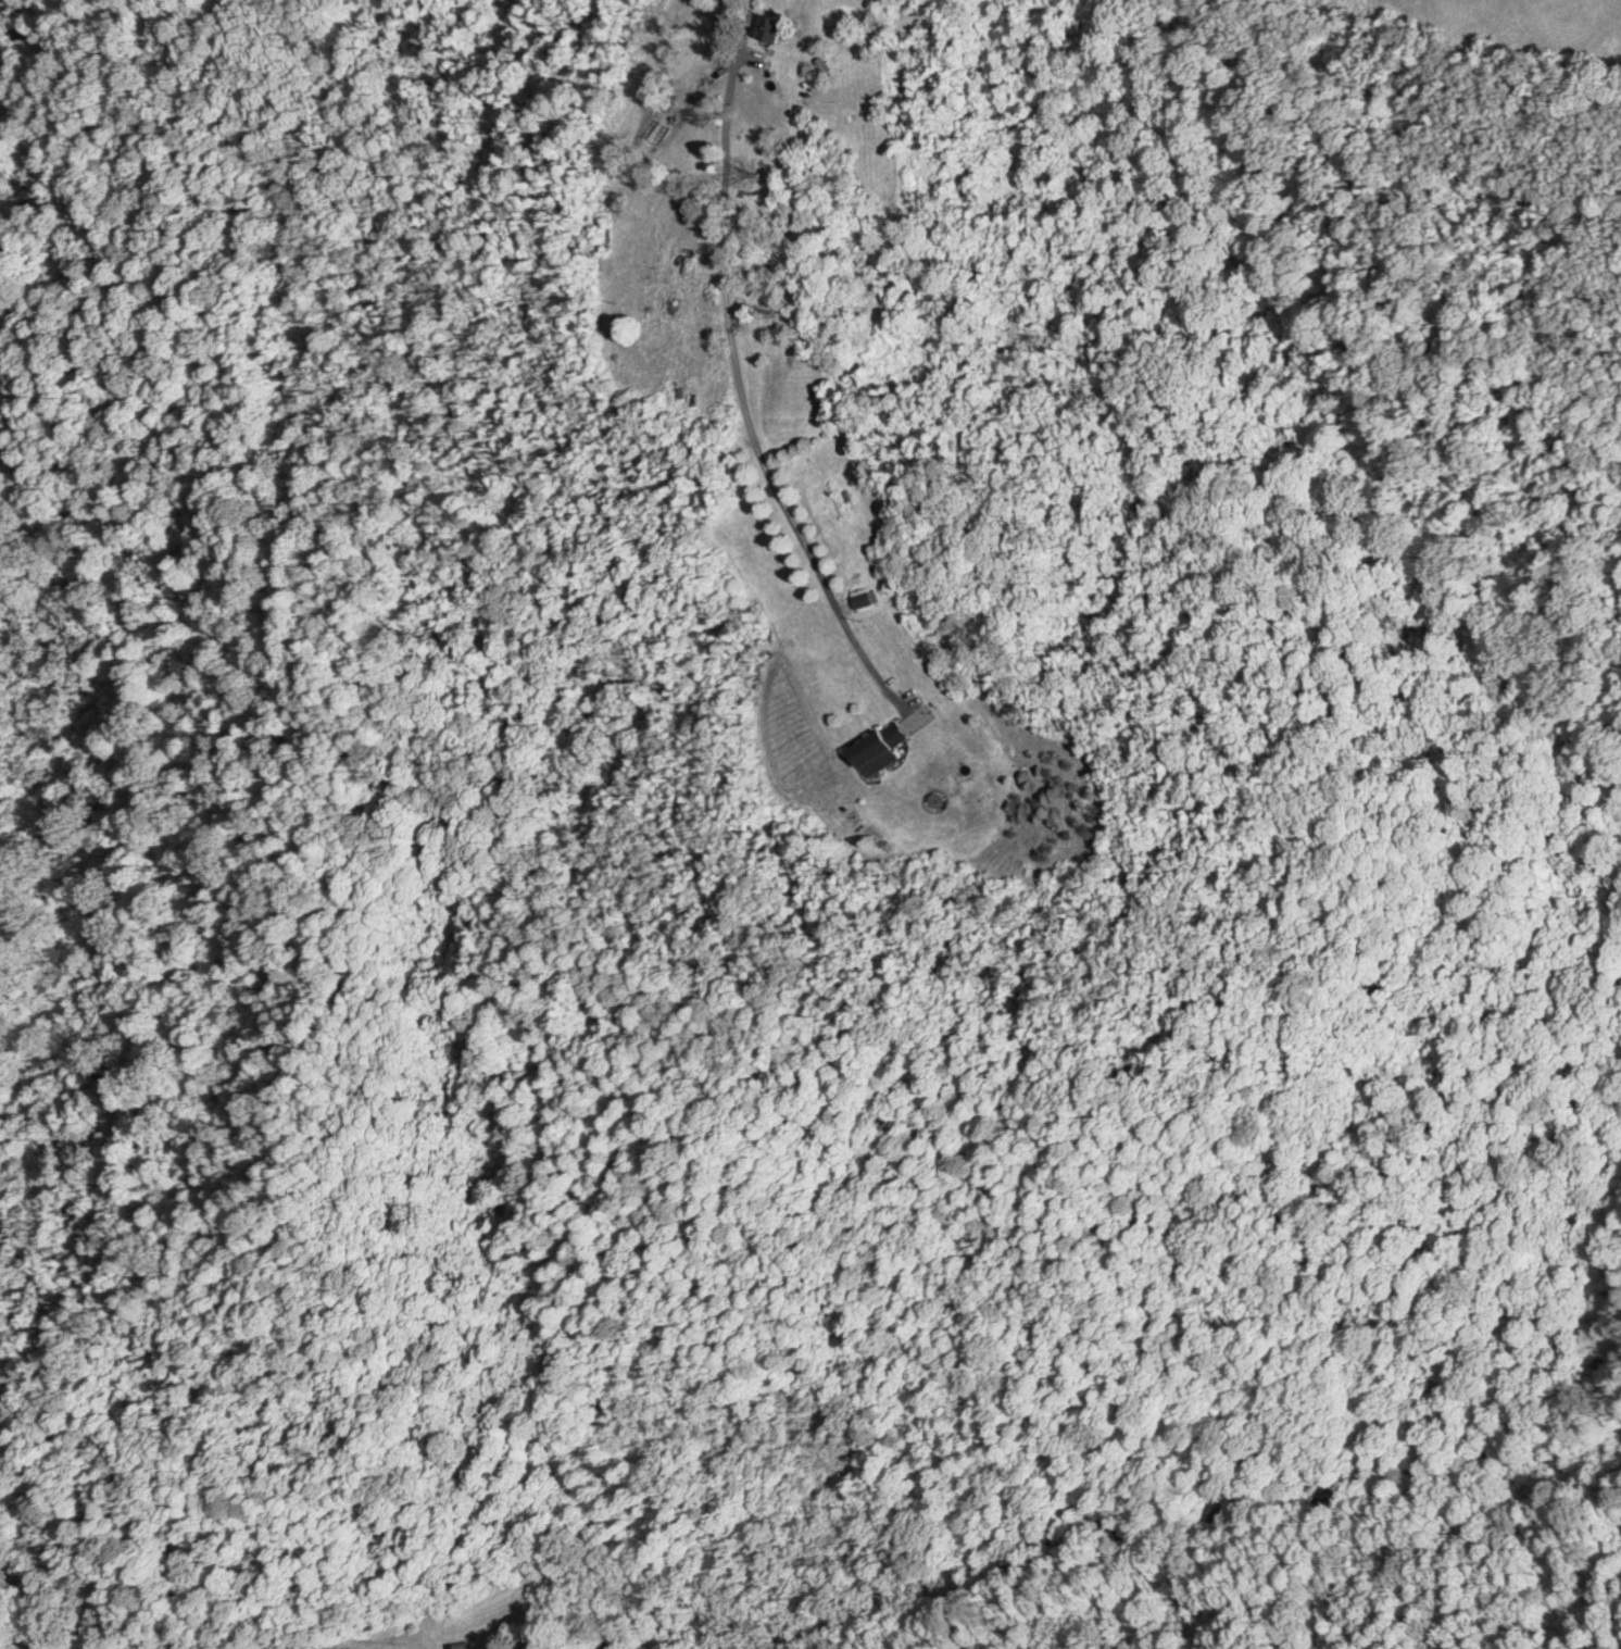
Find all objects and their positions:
building: (771, 28)
road: (736, 375)
building: (866, 599)
building: (879, 750)
building: (462, 1645)

